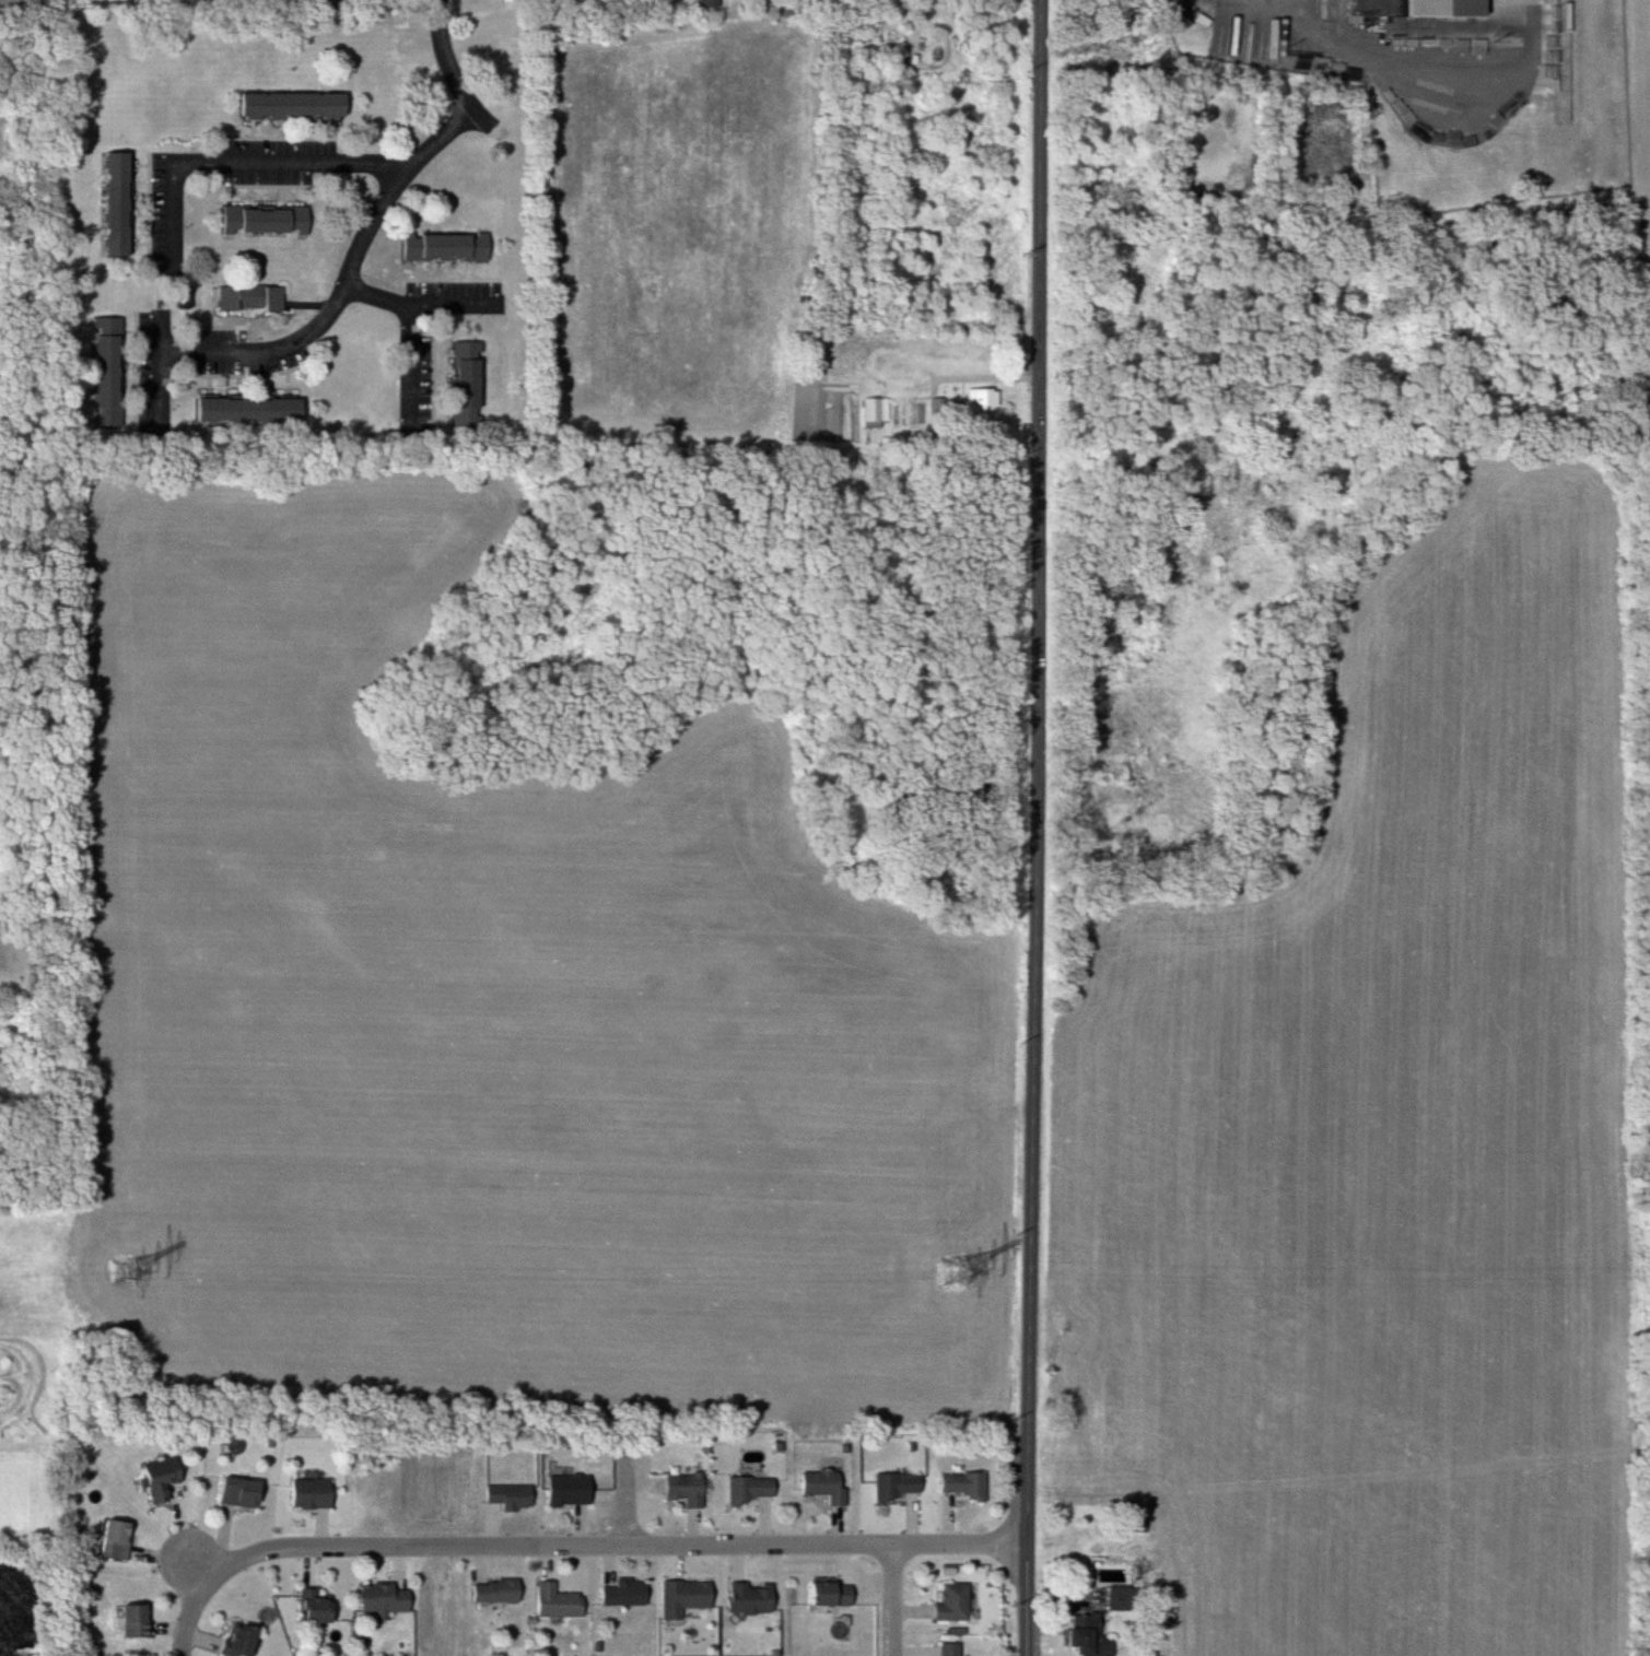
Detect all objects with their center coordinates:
road: (71, 2)
building: (1440, 9)
building: (301, 107)
road: (251, 166)
road: (416, 168)
building: (125, 203)
building: (270, 221)
building: (453, 247)
building: (256, 298)
road: (413, 300)
building: (114, 363)
road: (256, 365)
building: (472, 377)
road: (993, 390)
building: (981, 398)
building: (876, 409)
building: (257, 411)
road: (1039, 827)
power tower: (129, 1271)
power tower: (953, 1273)
building: (168, 1478)
building: (962, 1484)
building: (823, 1485)
building: (893, 1485)
building: (680, 1489)
building: (747, 1489)
building: (564, 1490)
building: (248, 1492)
building: (317, 1493)
building: (507, 1495)
road: (630, 1498)
building: (124, 1539)
road: (575, 1546)
road: (202, 1567)
building: (493, 1590)
building: (623, 1593)
building: (827, 1594)
building: (681, 1597)
building: (749, 1597)
building: (385, 1600)
road: (893, 1600)
building: (555, 1601)
building: (950, 1602)
building: (321, 1608)
building: (142, 1620)
building: (1086, 1636)
building: (246, 1642)
building: (948, 1649)

